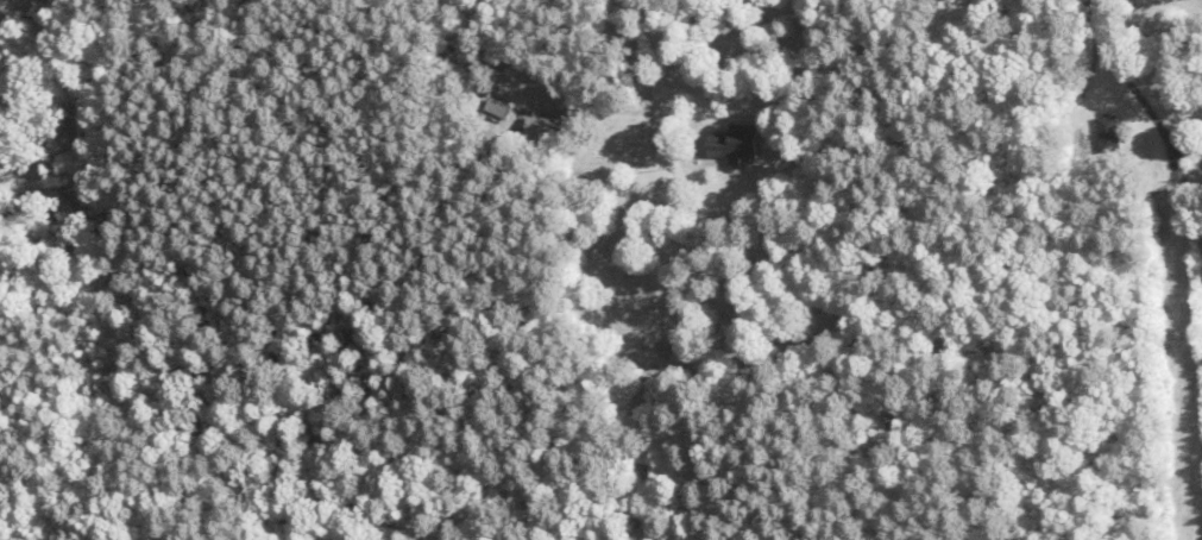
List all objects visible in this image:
building: (499, 107)
building: (545, 130)
building: (1109, 130)
building: (736, 144)

